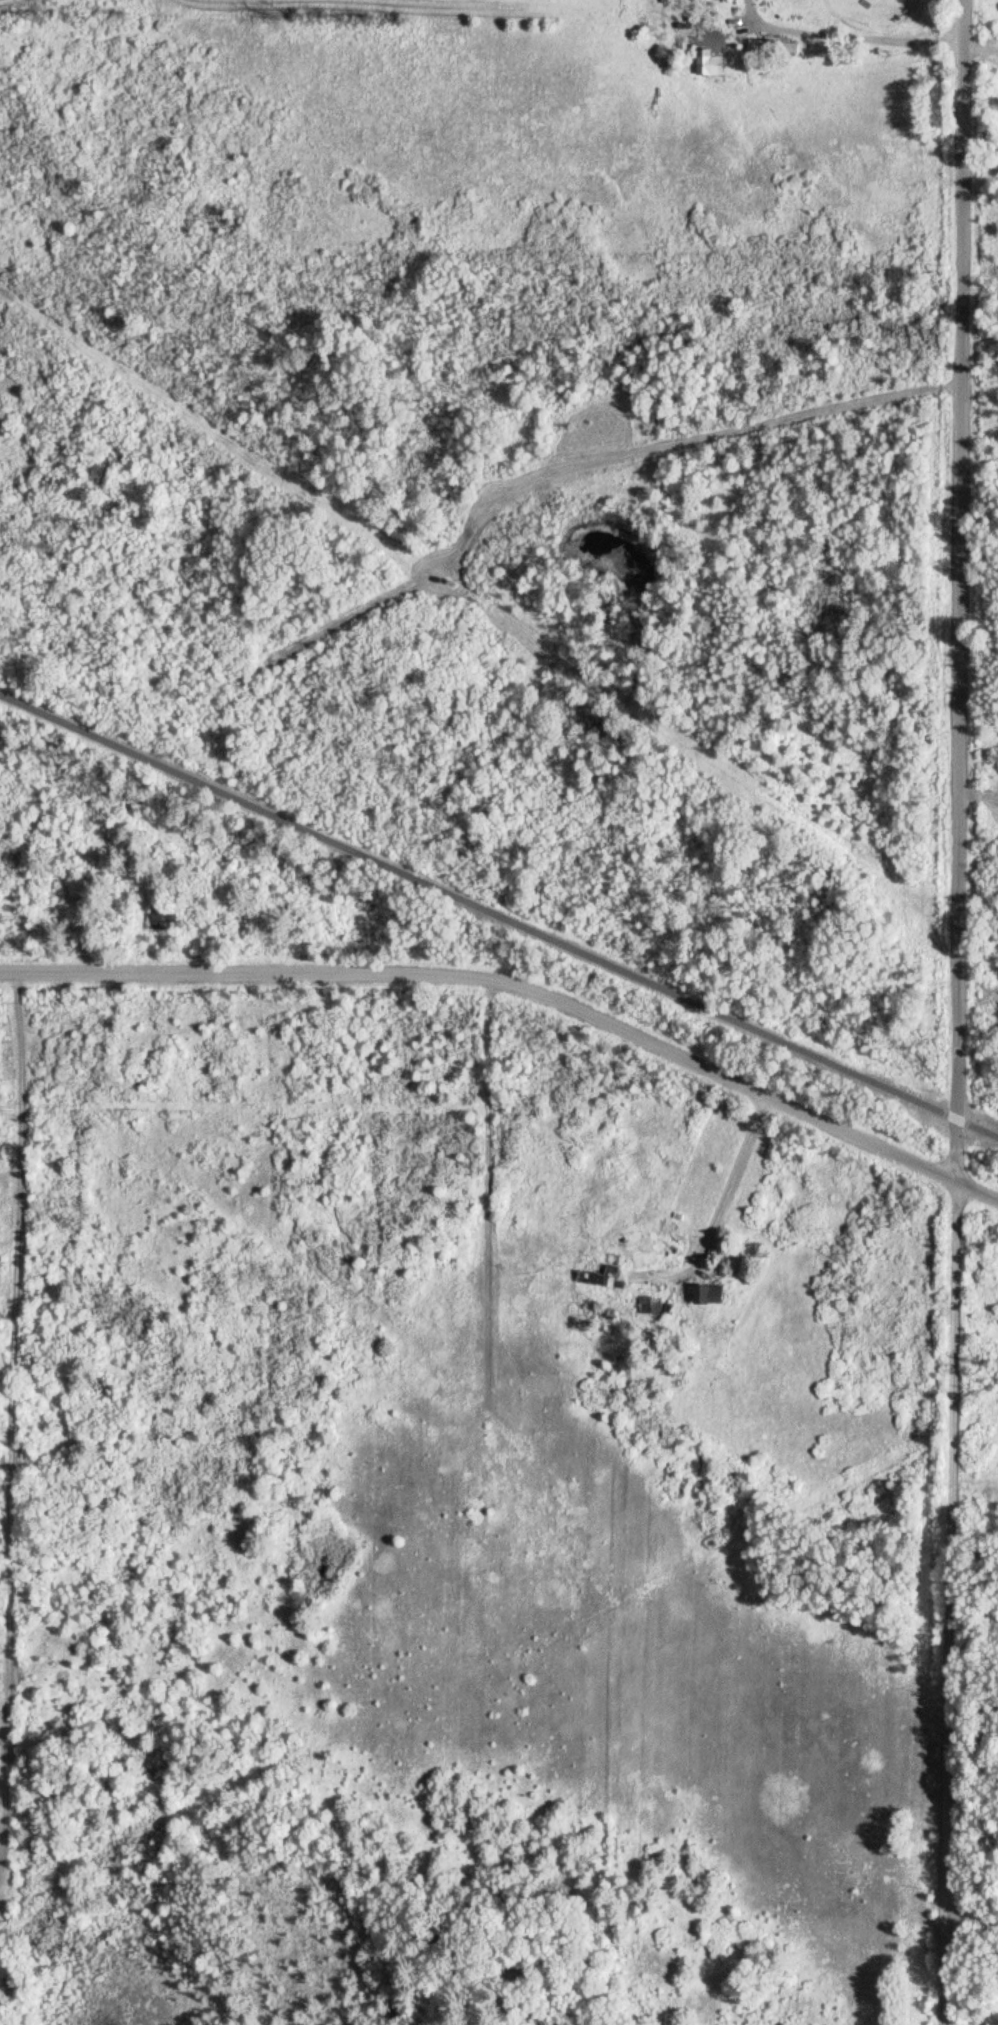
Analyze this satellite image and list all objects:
building: (704, 63)
road: (829, 75)
road: (746, 455)
road: (978, 796)
road: (499, 910)
building: (168, 916)
road: (520, 988)
road: (957, 1012)
building: (760, 1173)
building: (601, 1277)
building: (703, 1293)
building: (642, 1304)
road: (9, 1426)
road: (970, 1945)

